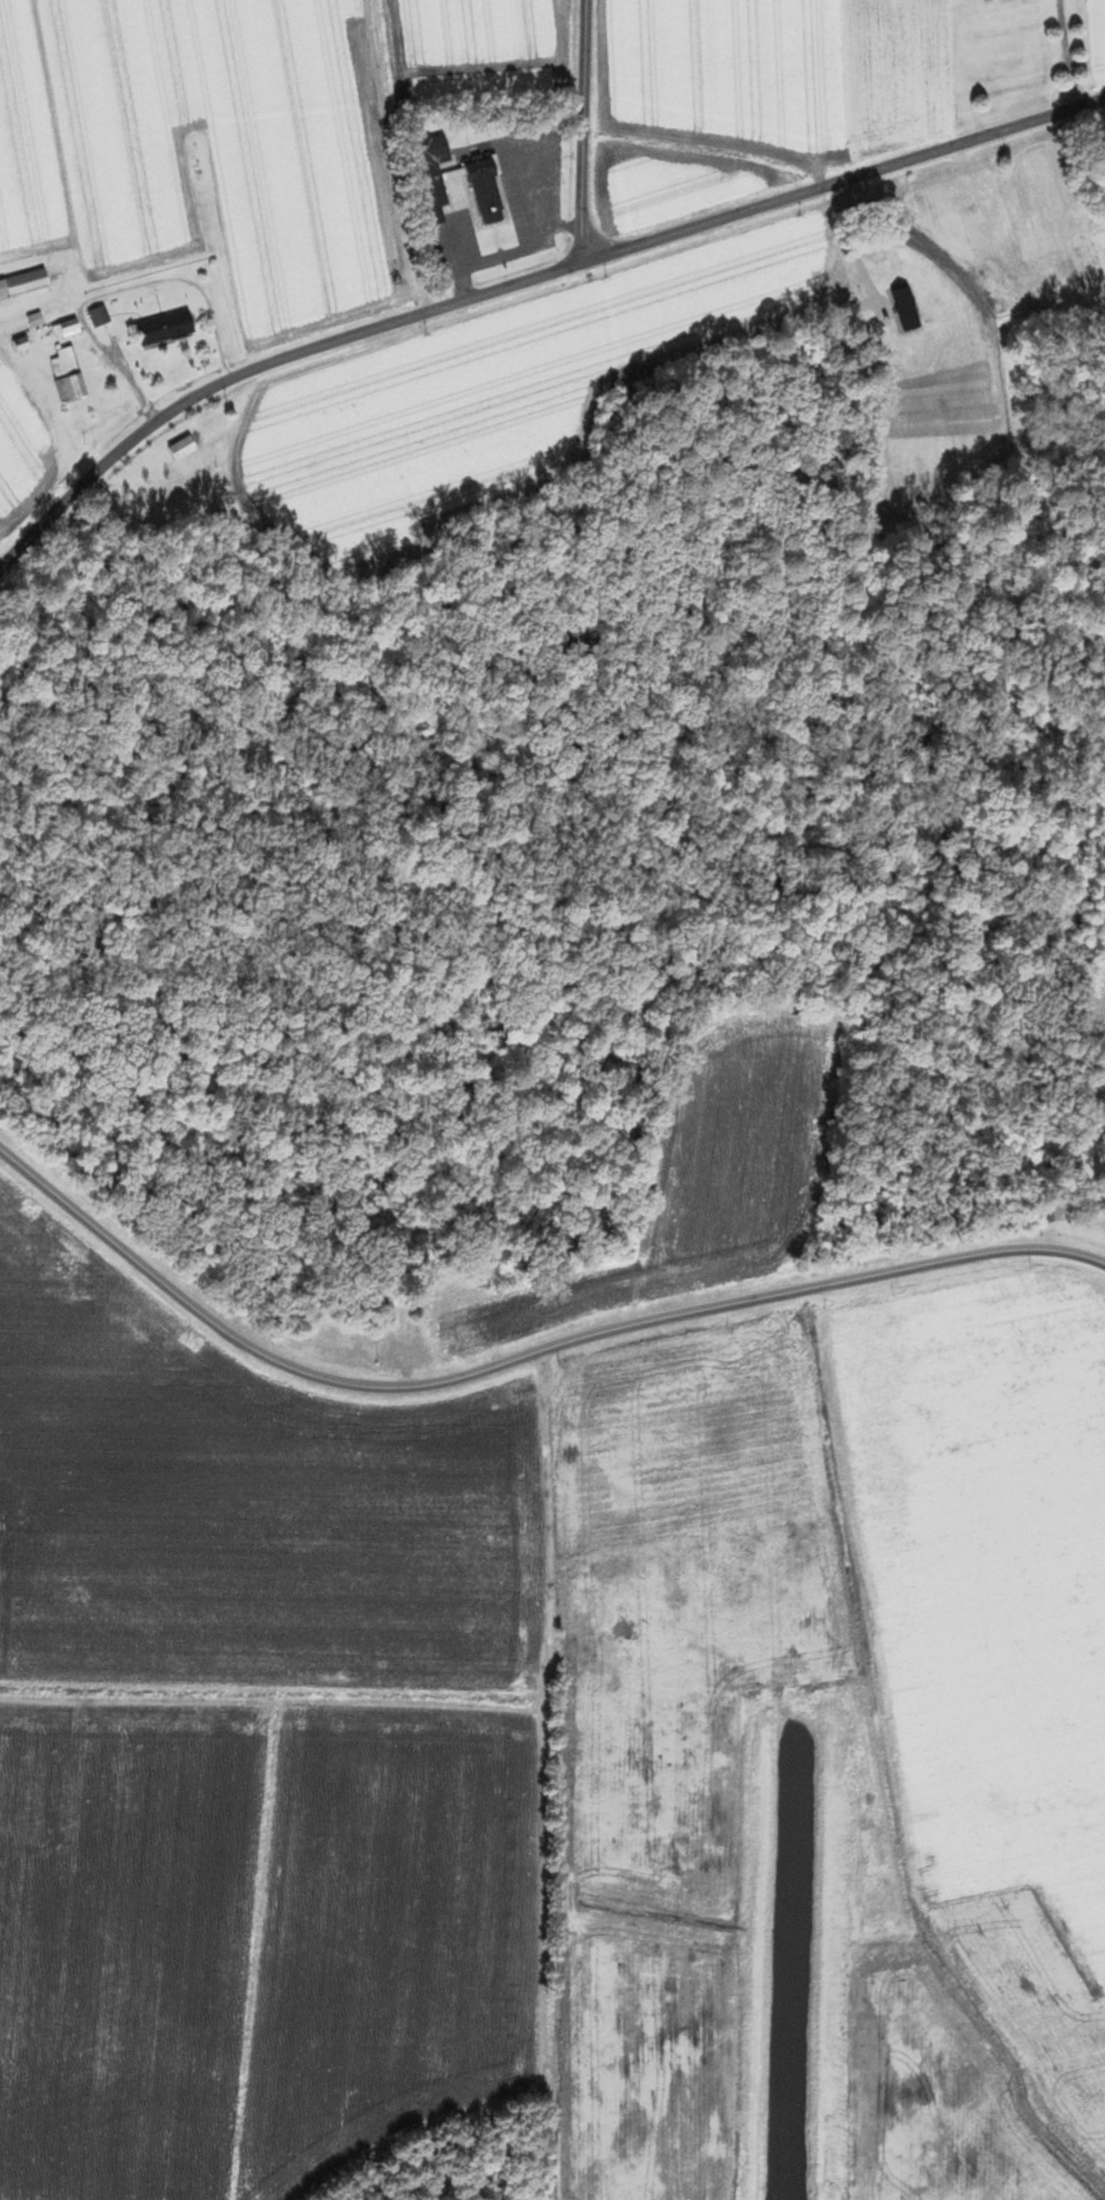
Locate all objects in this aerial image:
road: (1066, 52)
road: (583, 130)
building: (432, 174)
building: (488, 191)
building: (942, 212)
road: (510, 250)
road: (523, 280)
building: (24, 282)
building: (99, 316)
building: (166, 327)
building: (67, 328)
building: (69, 372)
building: (185, 446)
building: (1053, 1213)
building: (473, 1336)
road: (519, 1359)
building: (772, 1451)

